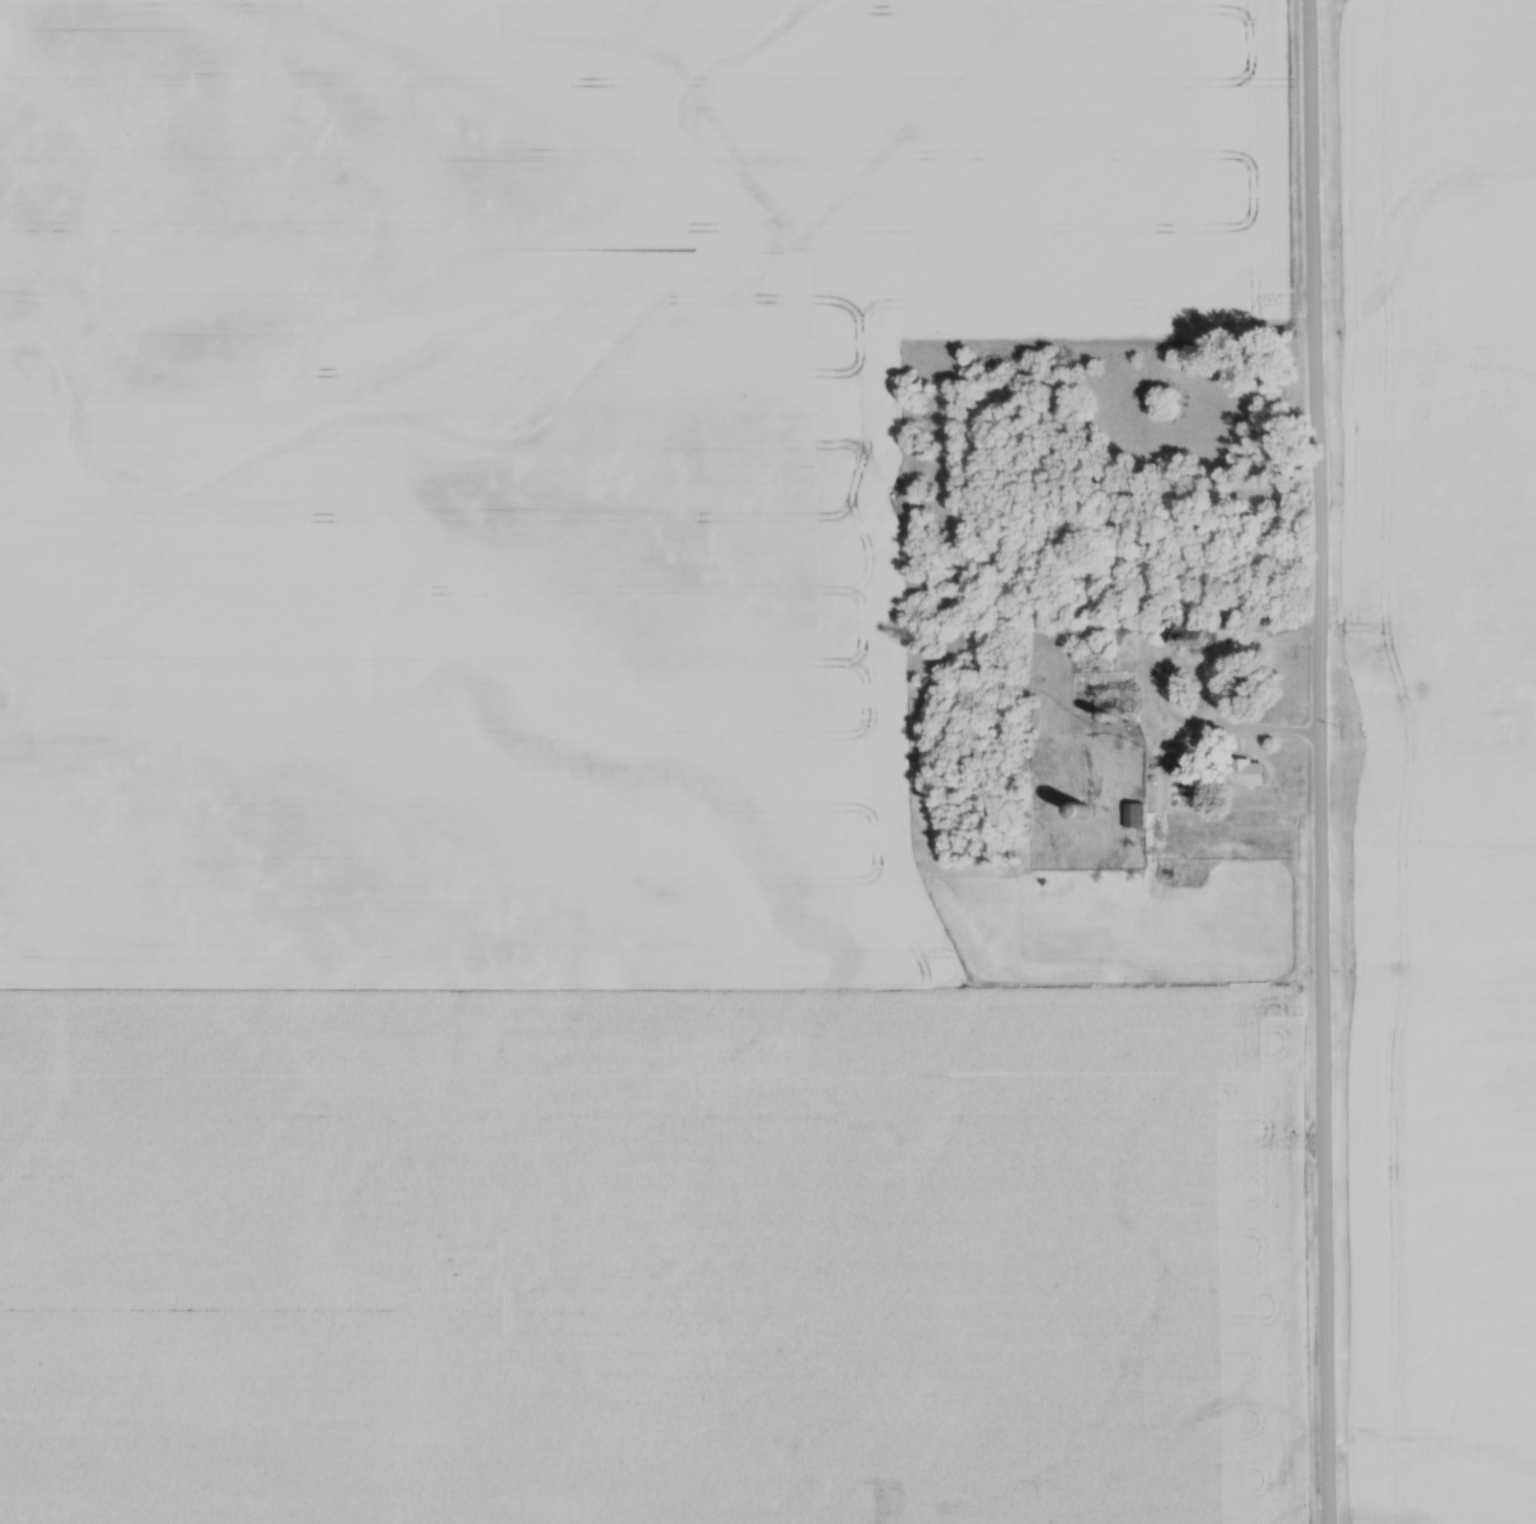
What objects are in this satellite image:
building: (1246, 685)
road: (1320, 762)
building: (1186, 766)
building: (1249, 774)
building: (1136, 816)

